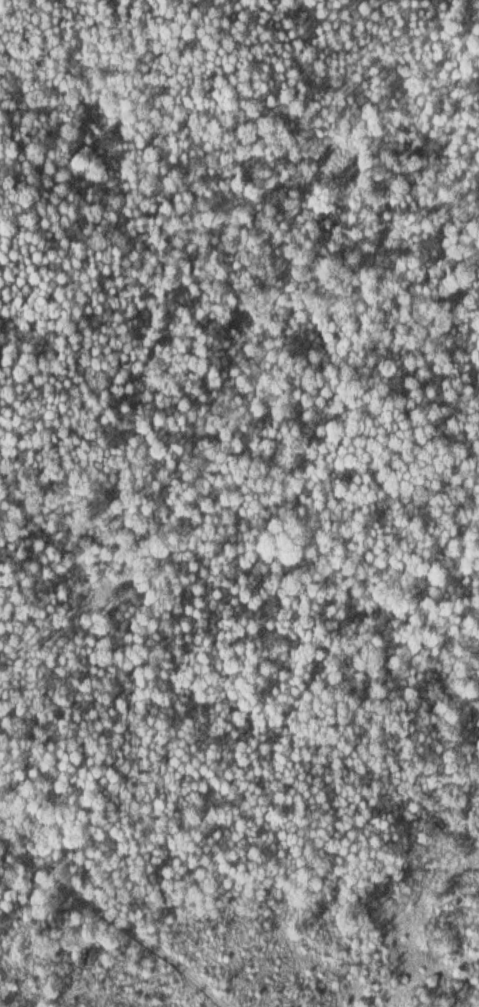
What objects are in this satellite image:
road: (112, 919)

